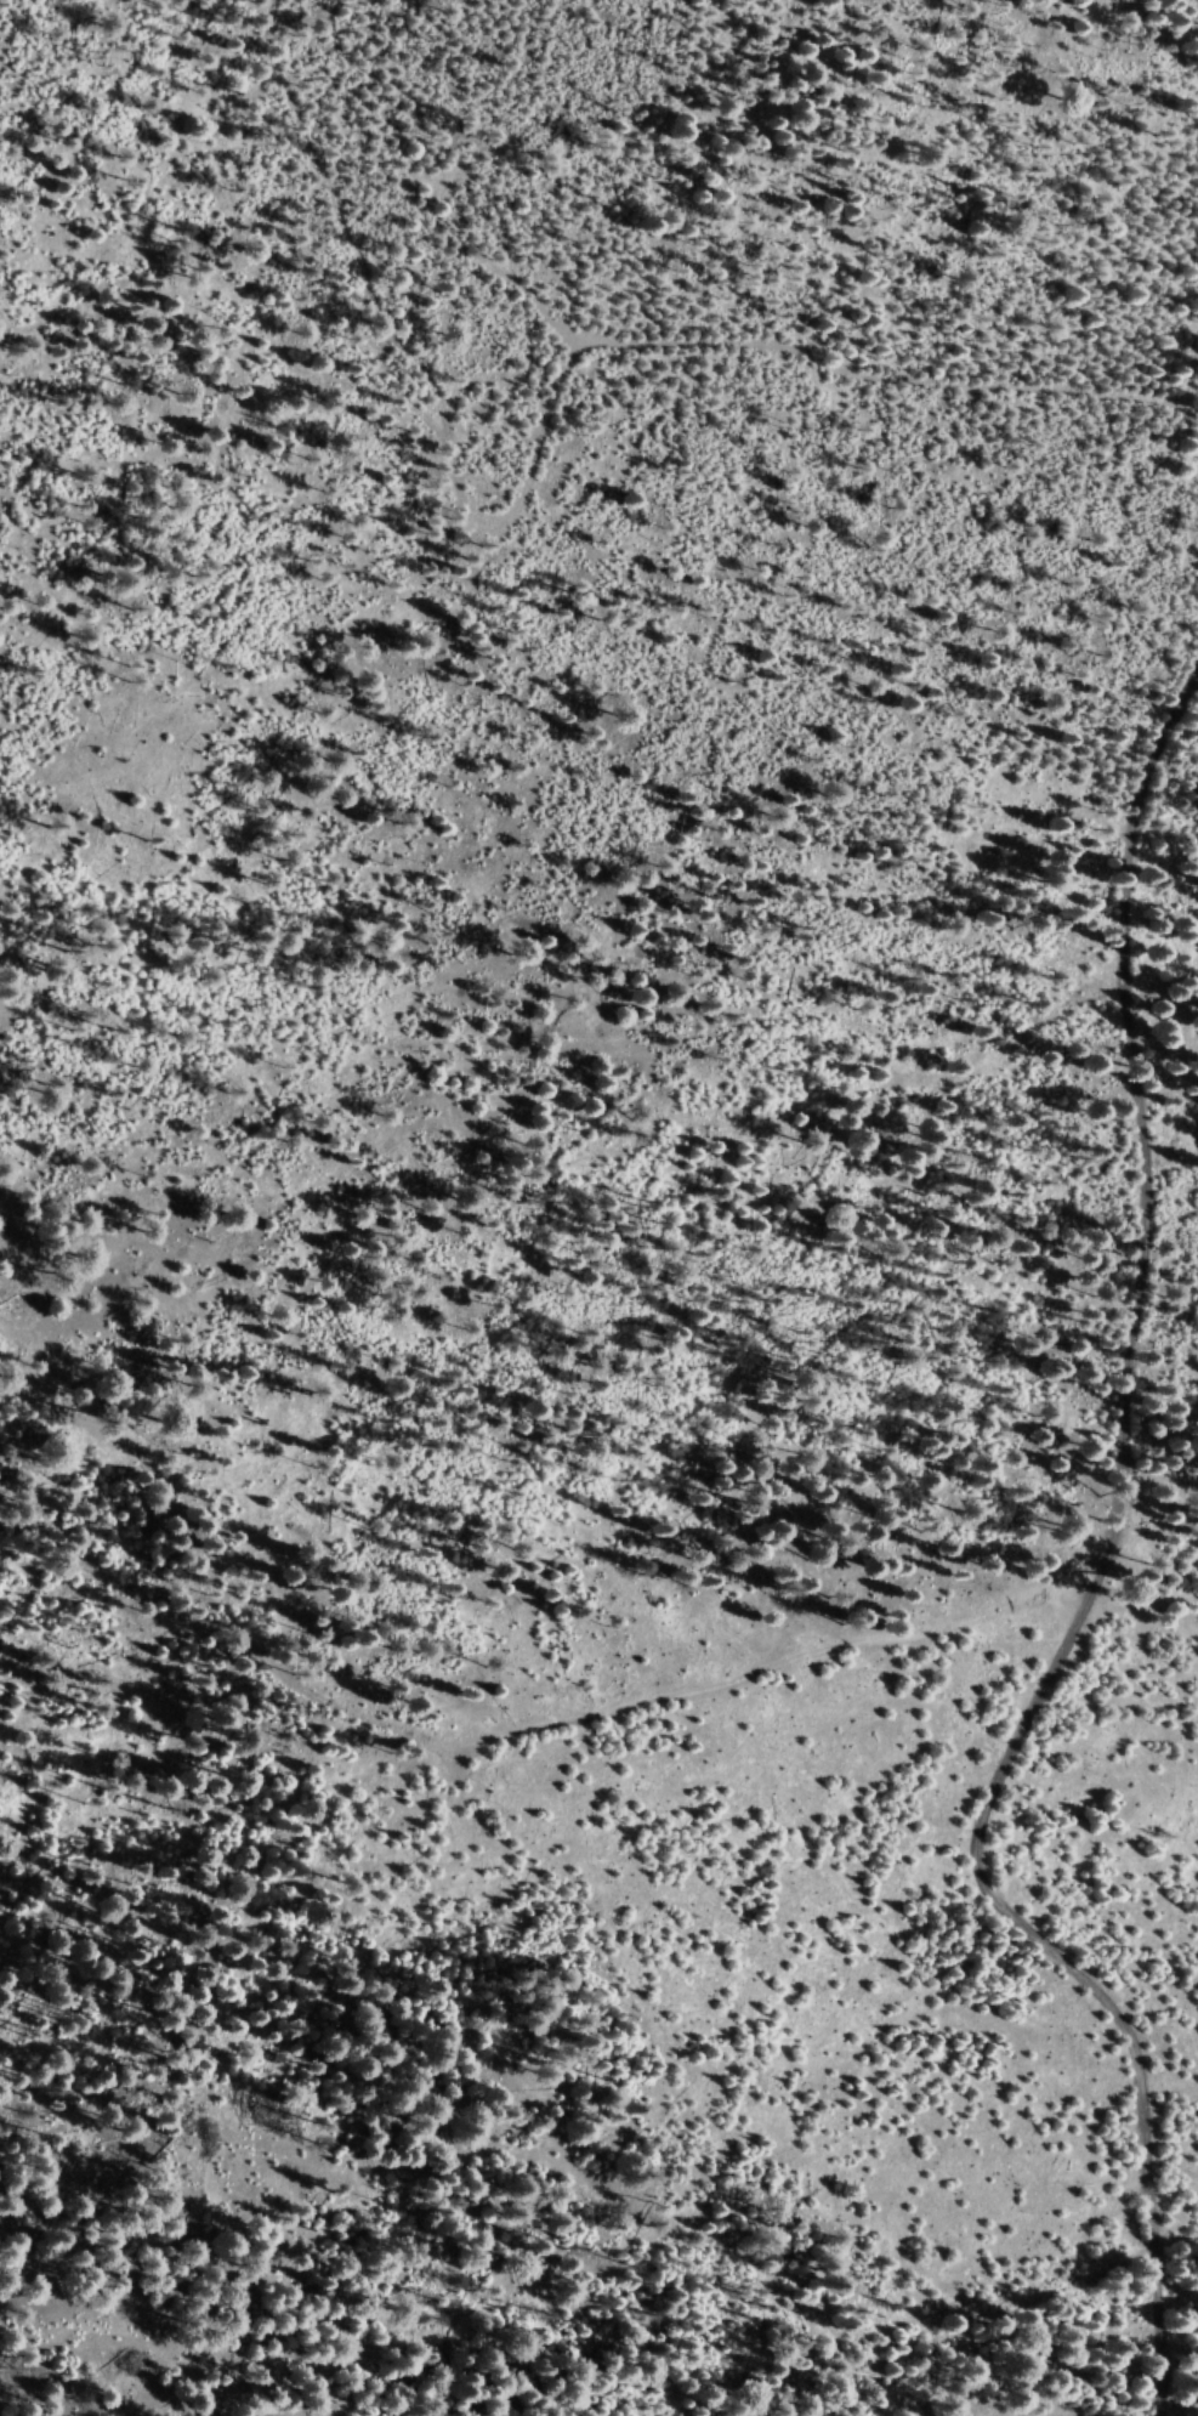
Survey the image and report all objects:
road: (888, 382)
road: (1088, 1573)
road: (469, 1742)

